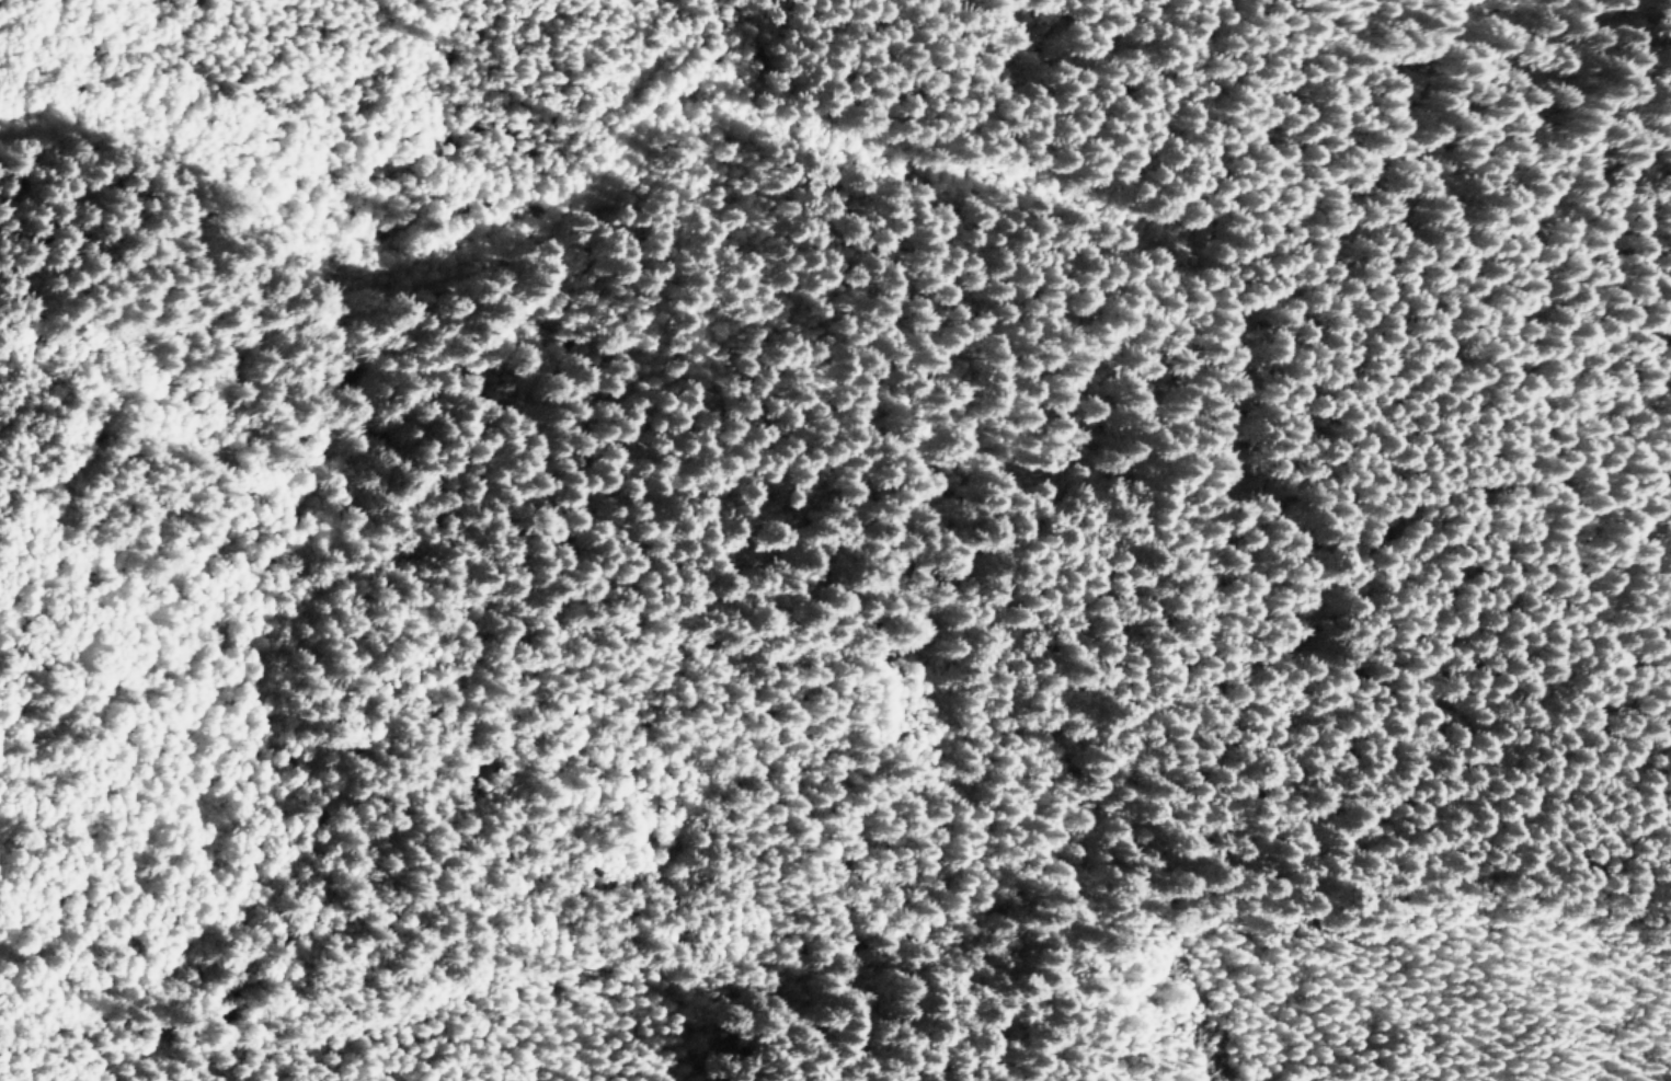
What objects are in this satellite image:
road: (618, 227)
road: (138, 440)

